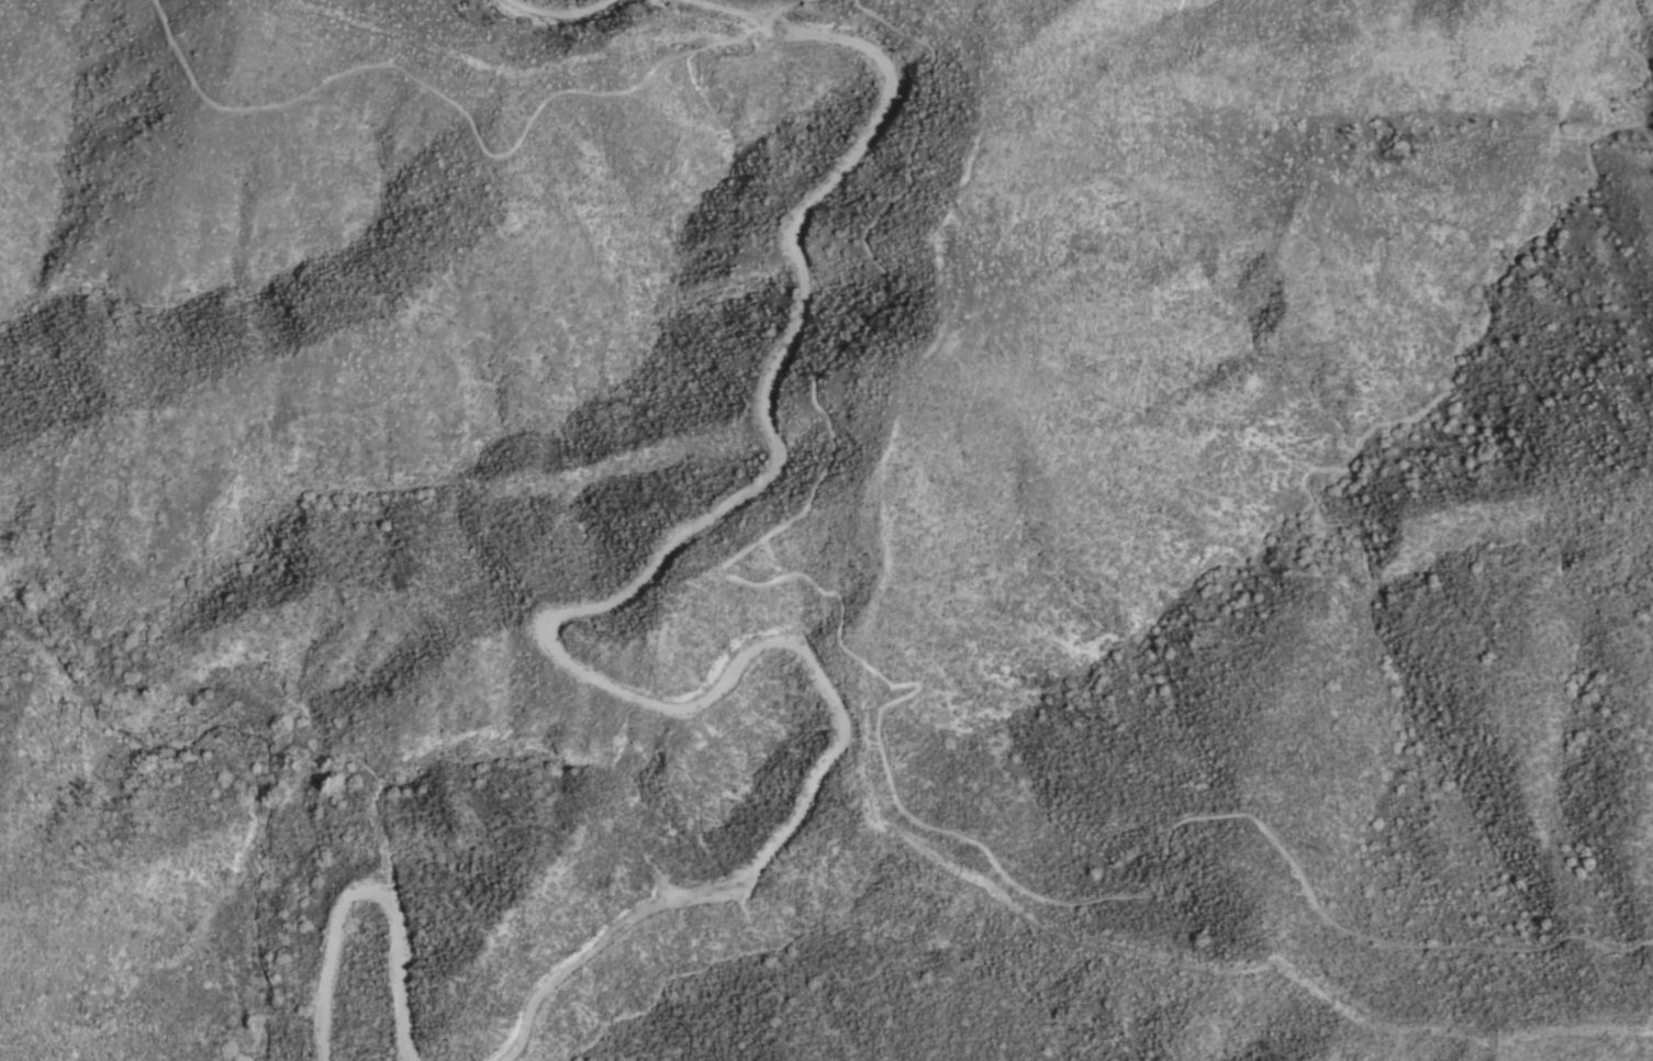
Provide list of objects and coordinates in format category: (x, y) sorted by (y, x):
road: (563, 11)
road: (467, 120)
road: (560, 628)
road: (889, 701)
road: (375, 887)

